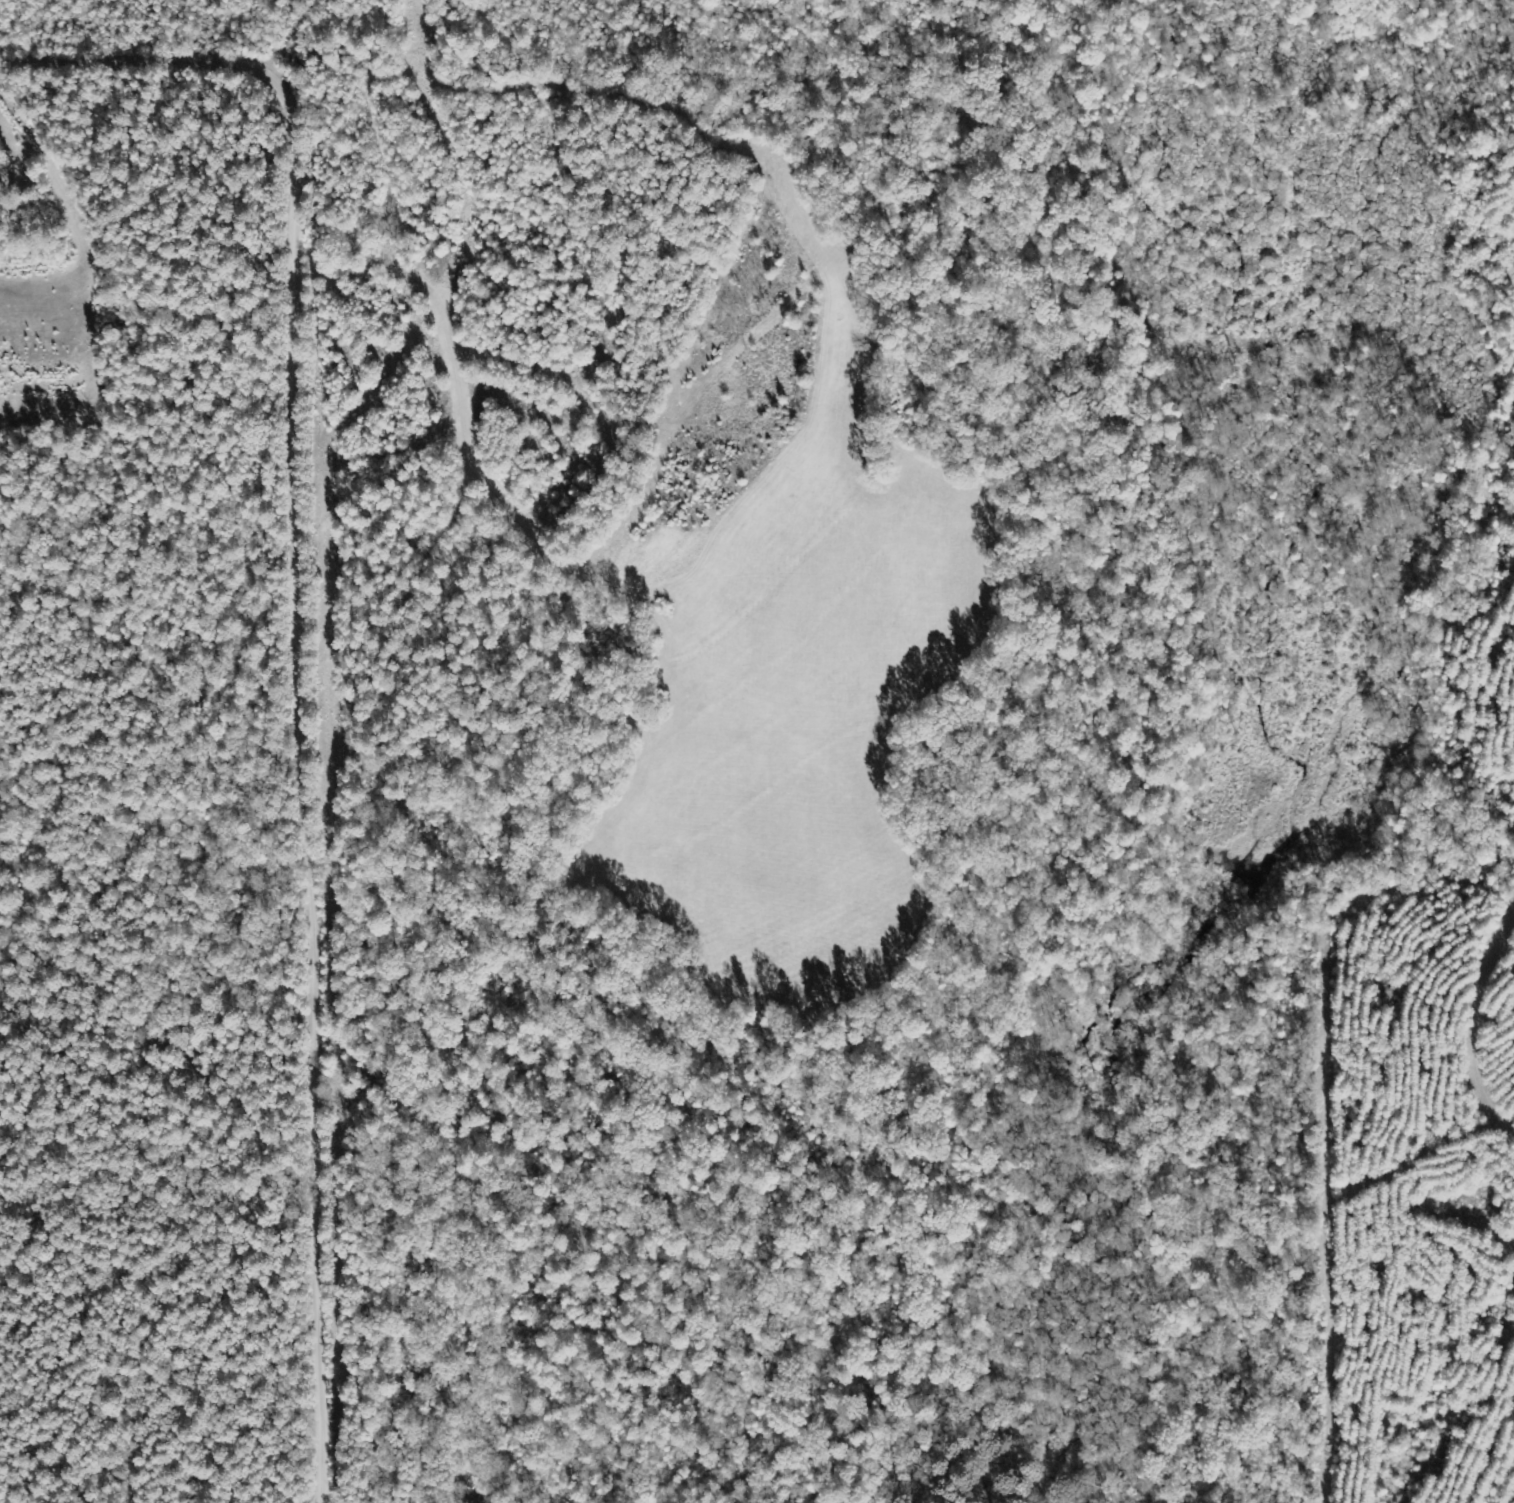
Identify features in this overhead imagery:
road: (158, 65)
road: (305, 806)

